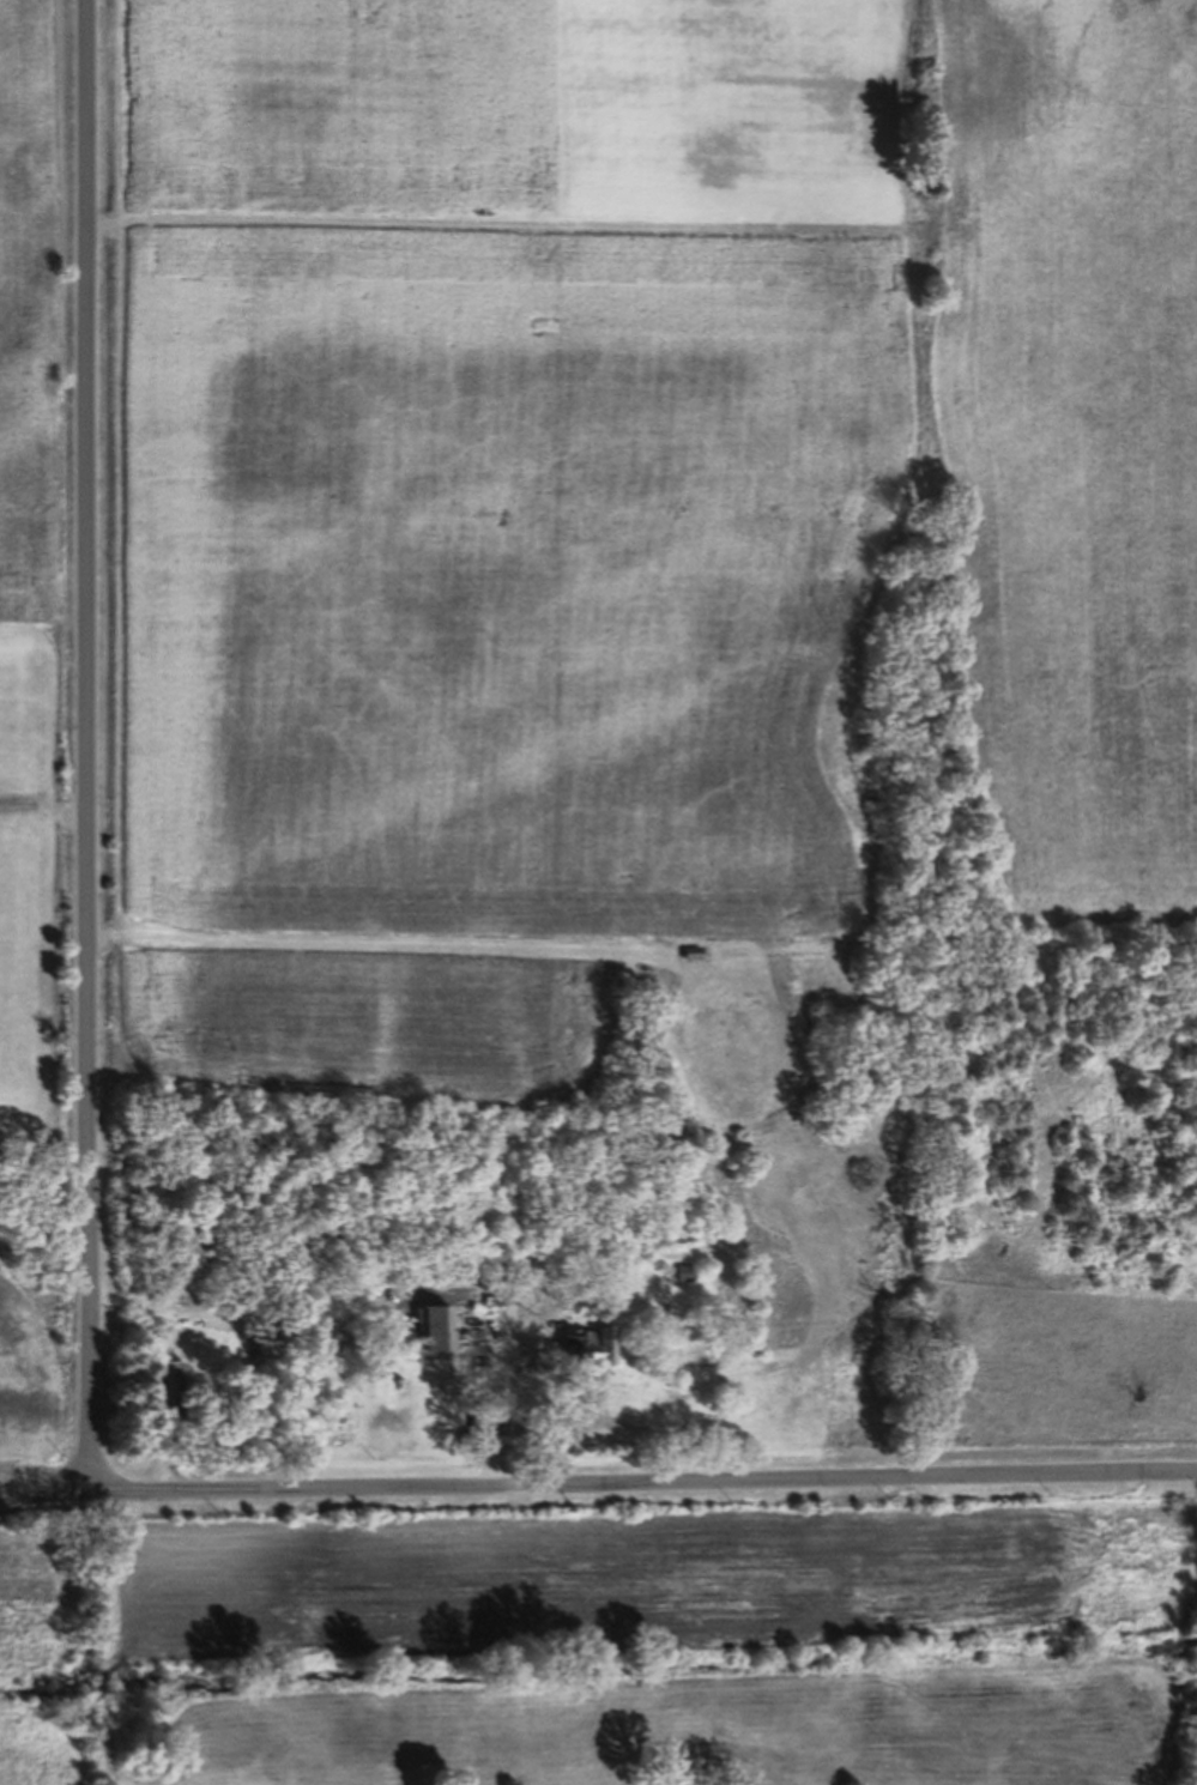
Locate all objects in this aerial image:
road: (90, 748)
building: (436, 1337)
building: (582, 1355)
building: (600, 1356)
building: (164, 1398)
road: (598, 1488)
crop: (617, 1651)

